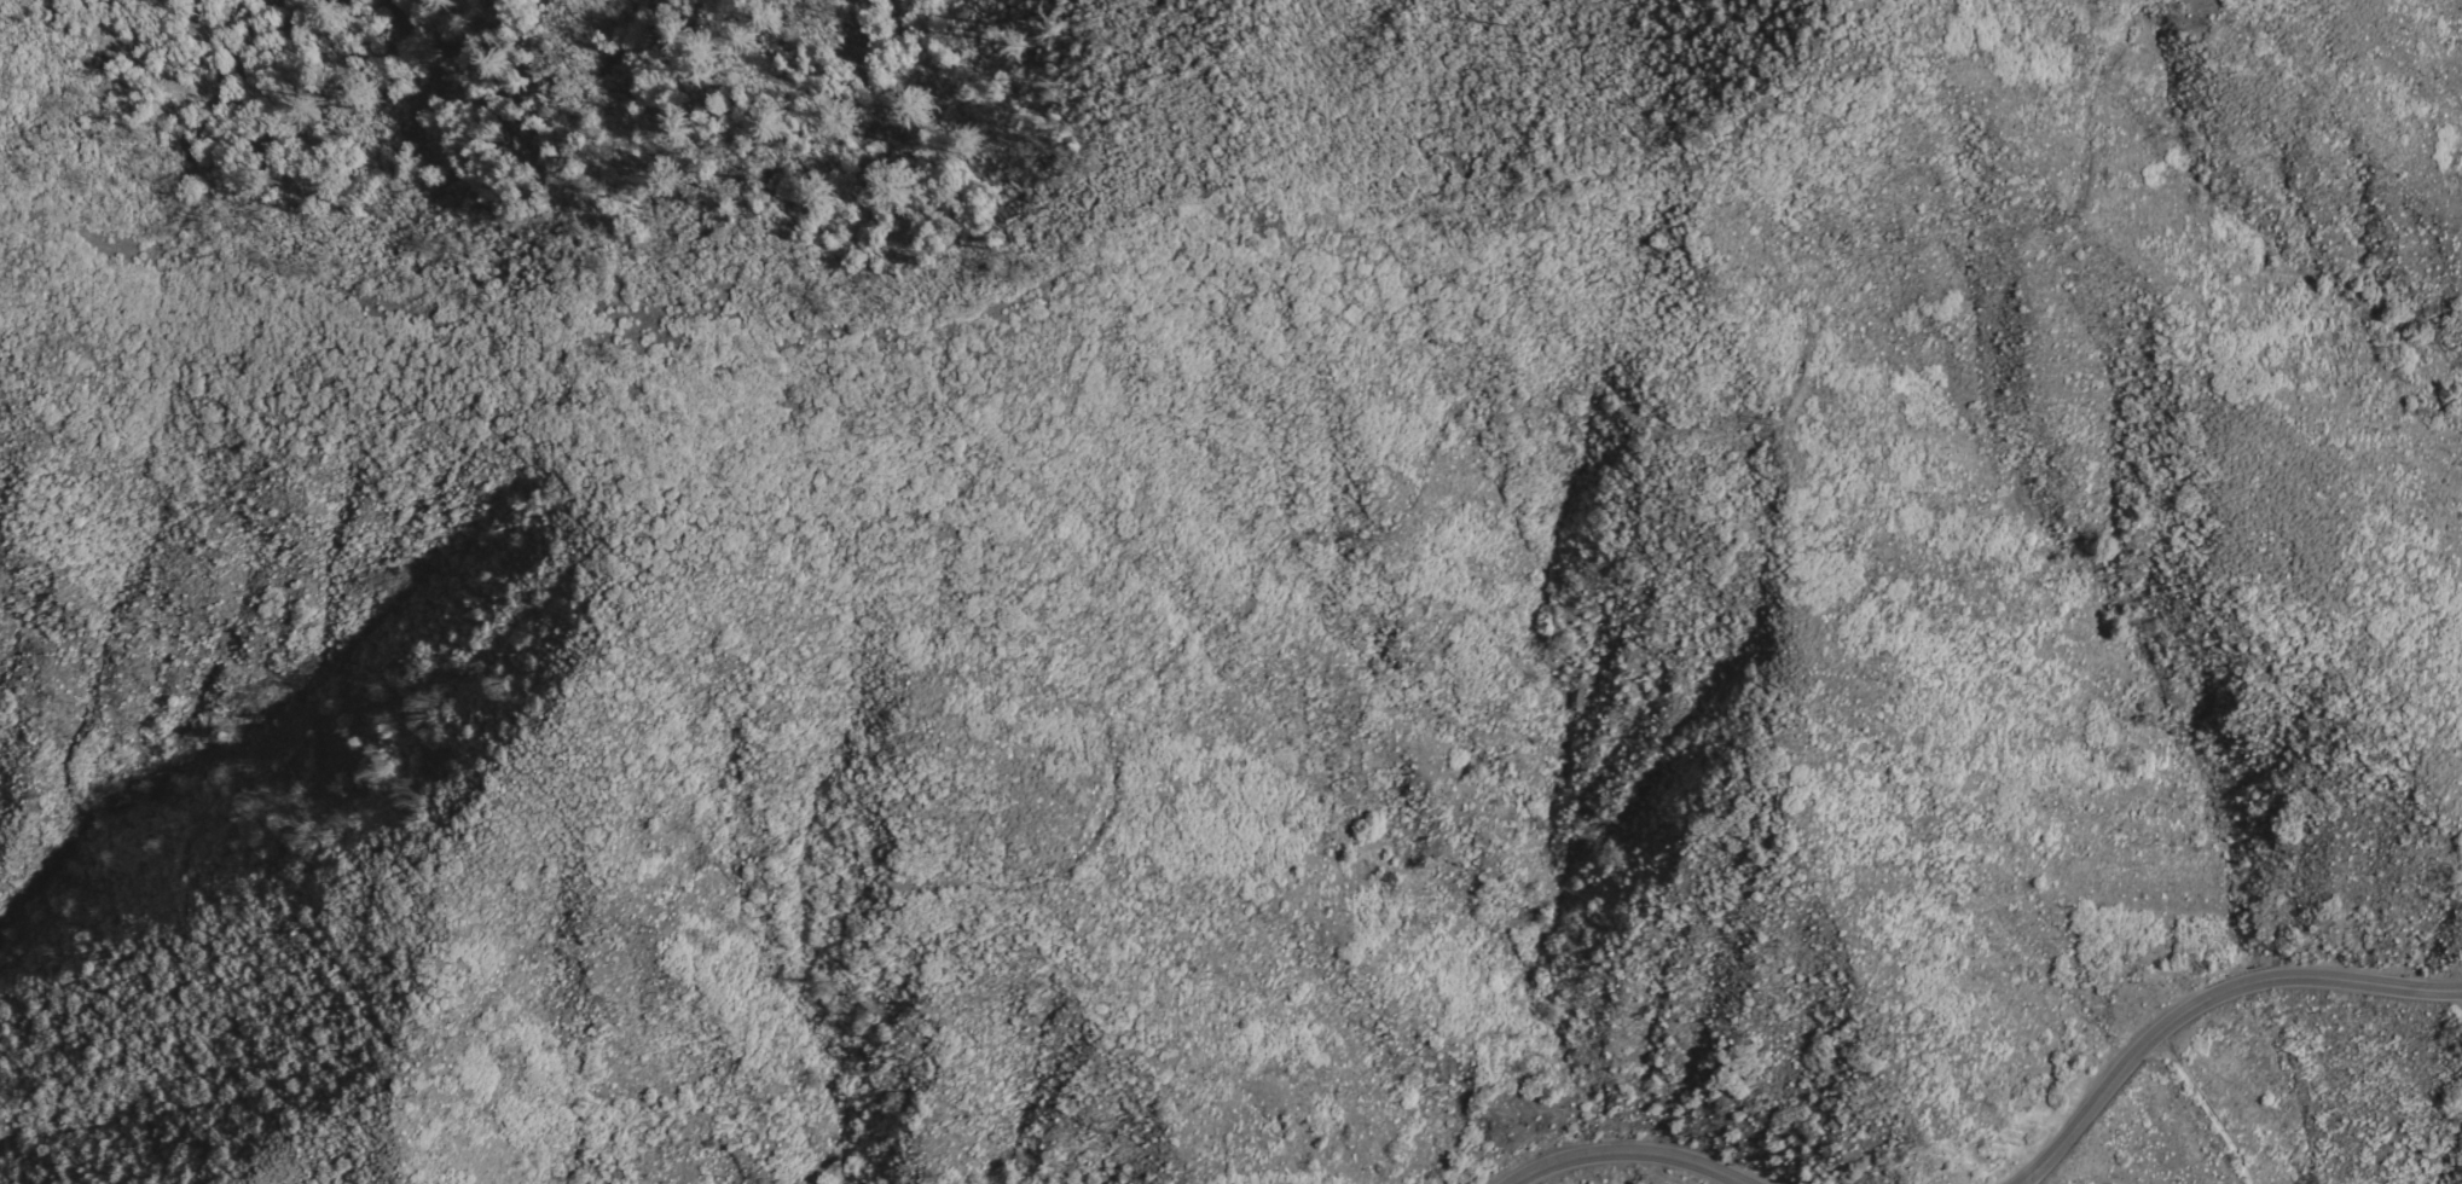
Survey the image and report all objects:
road: (1493, 407)
road: (340, 979)
parking lot: (2458, 998)
road: (2213, 1004)
road: (1640, 1154)

